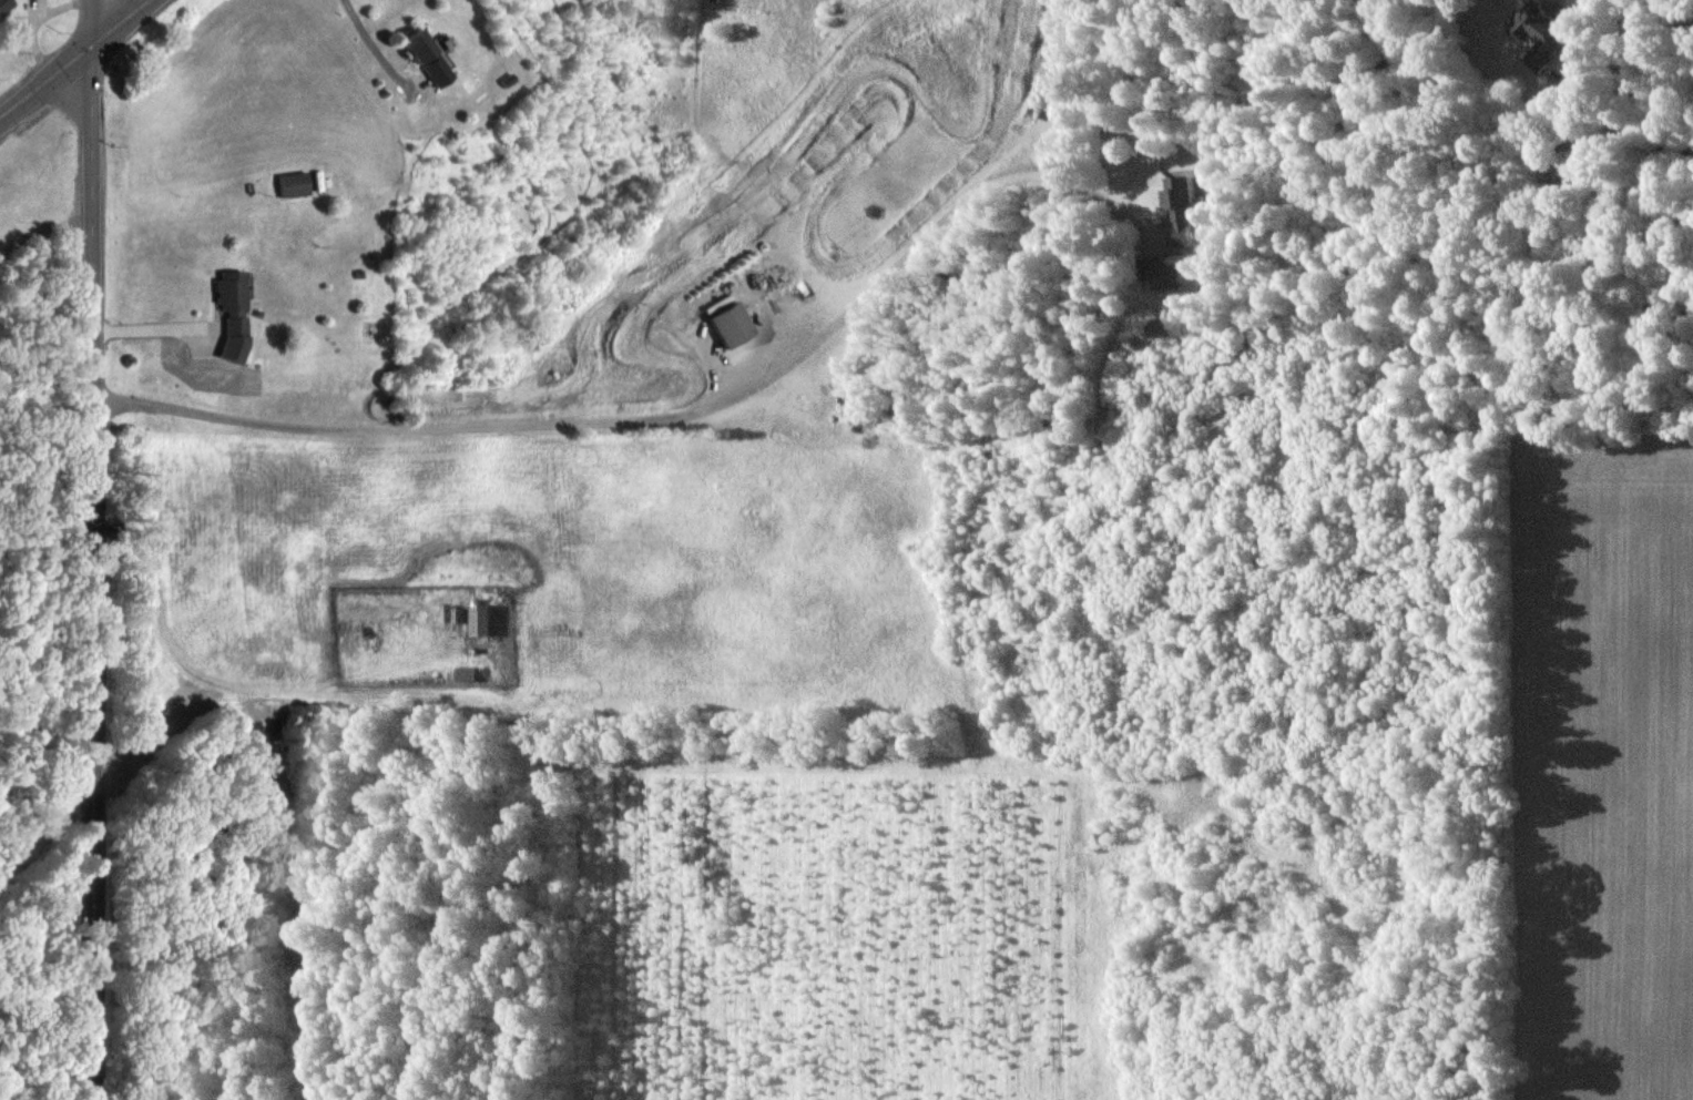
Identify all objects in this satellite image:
building: (2, 2)
road: (115, 22)
building: (1540, 35)
road: (370, 43)
building: (422, 58)
road: (43, 78)
road: (1622, 129)
building: (289, 185)
building: (1177, 214)
building: (1173, 274)
building: (226, 304)
building: (725, 327)
road: (155, 330)
road: (663, 418)
road: (93, 549)
building: (478, 620)
building: (462, 674)

